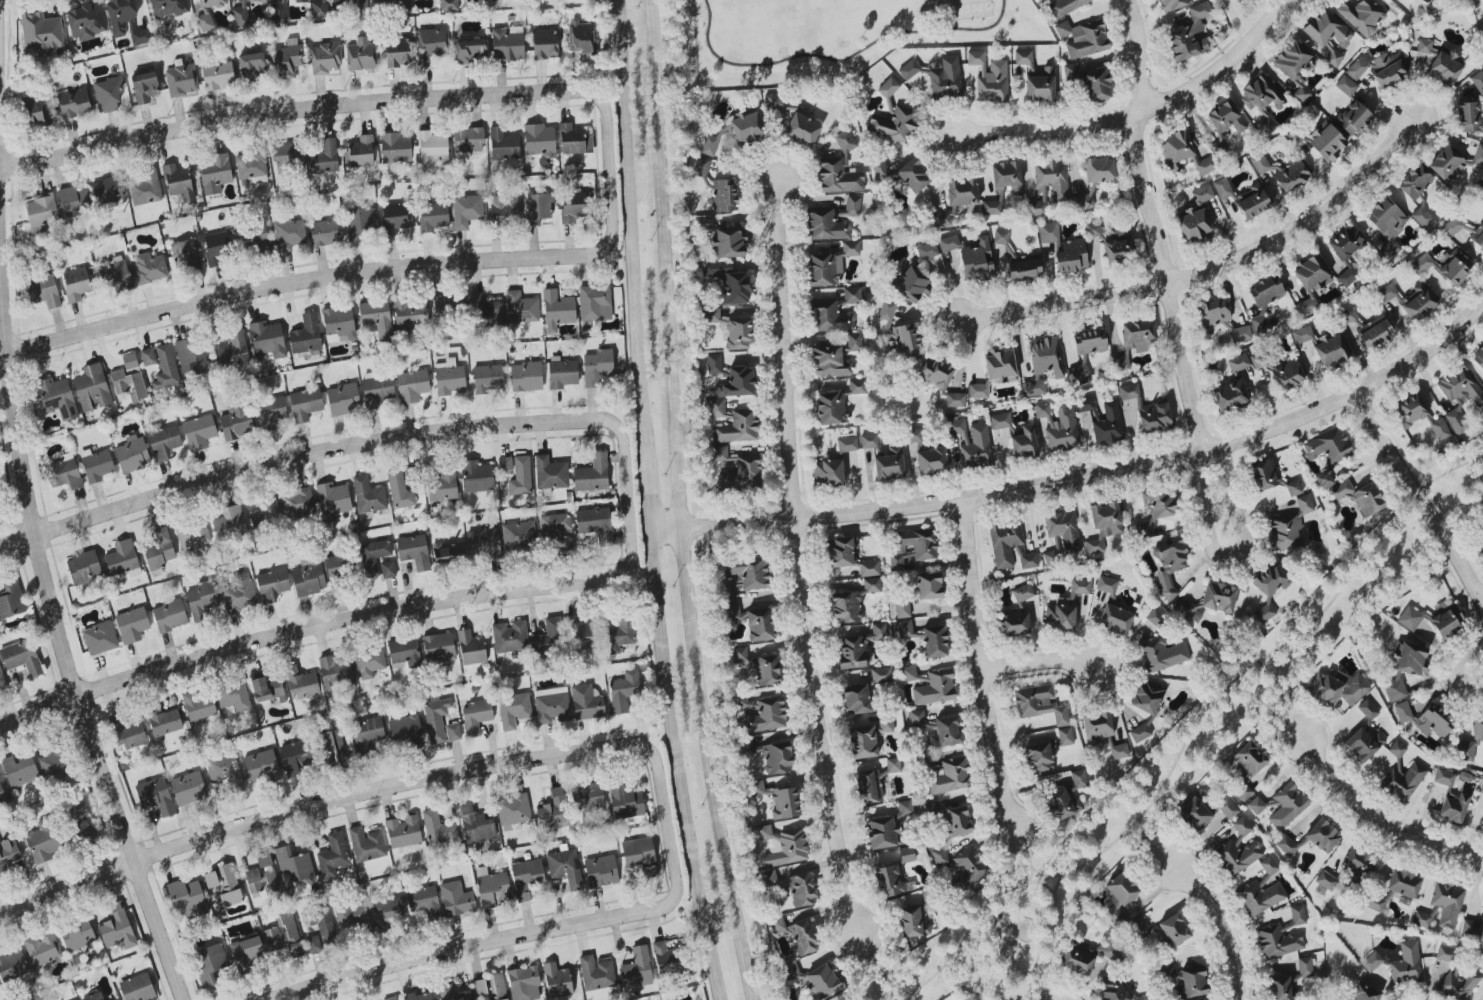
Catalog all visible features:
building: (494, 0)
building: (1238, 0)
building: (300, 1)
building: (384, 2)
building: (212, 3)
building: (1174, 4)
building: (449, 5)
building: (404, 6)
building: (359, 7)
building: (169, 8)
building: (319, 9)
building: (241, 13)
building: (279, 13)
building: (1361, 14)
building: (120, 15)
building: (86, 21)
building: (205, 22)
building: (1328, 29)
building: (40, 34)
building: (1189, 34)
building: (140, 37)
building: (580, 37)
building: (1083, 38)
building: (507, 43)
building: (545, 43)
building: (432, 44)
building: (1424, 46)
building: (471, 50)
building: (397, 52)
building: (361, 55)
building: (1333, 56)
building: (1022, 57)
building: (325, 58)
building: (288, 59)
road: (840, 61)
building: (1292, 61)
building: (252, 64)
building: (1379, 68)
building: (1445, 68)
building: (1072, 71)
building: (218, 76)
building: (938, 77)
building: (990, 78)
building: (1477, 82)
building: (1096, 85)
building: (1346, 85)
building: (1041, 86)
building: (144, 87)
building: (888, 87)
building: (108, 94)
building: (1302, 94)
building: (1262, 101)
building: (775, 103)
building: (74, 104)
road: (335, 105)
road: (1135, 110)
building: (35, 111)
building: (1469, 117)
building: (1226, 118)
building: (1354, 118)
building: (894, 125)
building: (742, 127)
building: (802, 130)
building: (468, 140)
building: (539, 140)
building: (574, 140)
building: (1326, 141)
building: (503, 144)
building: (709, 145)
building: (395, 148)
building: (432, 149)
building: (360, 152)
building: (1182, 153)
building: (286, 154)
building: (1478, 154)
building: (324, 157)
building: (1260, 163)
building: (1447, 164)
building: (251, 166)
building: (701, 167)
building: (840, 169)
building: (1099, 170)
building: (215, 173)
building: (913, 175)
building: (1291, 175)
building: (1006, 177)
building: (178, 182)
building: (1415, 182)
building: (1049, 185)
building: (145, 187)
building: (1222, 188)
building: (1481, 188)
building: (108, 190)
building: (962, 192)
building: (1202, 194)
building: (724, 195)
building: (74, 201)
building: (1252, 204)
building: (573, 206)
building: (539, 208)
building: (850, 208)
building: (990, 208)
building: (504, 209)
building: (466, 211)
building: (41, 212)
building: (1422, 216)
building: (433, 217)
building: (394, 218)
building: (940, 219)
building: (703, 222)
building: (359, 223)
road: (1151, 224)
building: (1194, 224)
building: (1387, 224)
building: (825, 225)
building: (1452, 226)
road: (632, 227)
building: (326, 232)
building: (1048, 232)
building: (289, 233)
building: (1478, 236)
building: (1001, 237)
building: (729, 243)
building: (1112, 244)
building: (217, 248)
building: (927, 250)
building: (1347, 252)
building: (185, 255)
building: (1071, 256)
building: (972, 257)
building: (1422, 263)
building: (830, 265)
building: (1454, 267)
building: (150, 268)
building: (1025, 268)
road: (1208, 270)
building: (116, 274)
road: (338, 279)
building: (1310, 281)
building: (728, 282)
building: (76, 284)
building: (910, 285)
building: (42, 291)
building: (1266, 291)
building: (1386, 293)
building: (855, 294)
building: (1418, 302)
building: (595, 303)
building: (448, 305)
building: (521, 308)
building: (487, 309)
building: (557, 310)
building: (886, 312)
building: (410, 313)
building: (830, 317)
building: (377, 318)
building: (1221, 319)
building: (338, 324)
building: (732, 328)
building: (1367, 328)
building: (306, 335)
building: (1302, 335)
building: (1137, 336)
building: (267, 339)
building: (906, 340)
building: (854, 341)
building: (1089, 342)
building: (233, 349)
building: (1331, 351)
building: (148, 357)
building: (1478, 357)
building: (193, 358)
building: (829, 360)
building: (1120, 363)
building: (1238, 363)
building: (713, 364)
building: (1043, 364)
building: (597, 367)
building: (1000, 367)
building: (165, 368)
building: (562, 372)
building: (935, 373)
building: (1080, 374)
building: (1286, 374)
building: (448, 377)
building: (526, 377)
building: (487, 378)
building: (129, 380)
building: (737, 383)
building: (412, 386)
building: (857, 386)
building: (92, 388)
building: (377, 391)
building: (978, 391)
building: (1230, 396)
building: (1459, 396)
building: (57, 397)
building: (343, 400)
building: (955, 400)
building: (305, 404)
building: (715, 408)
building: (831, 409)
building: (1042, 410)
building: (1149, 412)
building: (270, 413)
building: (1417, 415)
building: (236, 419)
building: (1104, 420)
building: (1000, 421)
building: (956, 425)
building: (737, 428)
road: (451, 431)
building: (1063, 431)
building: (199, 432)
building: (914, 435)
building: (164, 443)
building: (1024, 443)
building: (847, 444)
building: (1328, 446)
building: (977, 447)
building: (718, 453)
building: (132, 454)
building: (885, 459)
building: (931, 461)
building: (505, 464)
building: (96, 465)
building: (64, 473)
building: (550, 473)
building: (742, 473)
building: (828, 473)
building: (592, 474)
road: (1086, 474)
building: (476, 476)
building: (520, 476)
building: (1270, 477)
building: (1325, 480)
building: (442, 487)
building: (399, 489)
road: (649, 491)
building: (368, 495)
building: (1359, 496)
road: (1422, 499)
building: (332, 500)
road: (676, 502)
building: (297, 503)
building: (1160, 503)
building: (1481, 510)
building: (264, 517)
building: (229, 523)
building: (595, 524)
building: (553, 525)
building: (1103, 525)
building: (1288, 528)
building: (1143, 529)
building: (1063, 531)
building: (193, 535)
building: (519, 535)
building: (484, 543)
building: (565, 544)
building: (913, 546)
building: (1009, 546)
building: (159, 549)
building: (1481, 549)
road: (1228, 550)
building: (414, 552)
building: (841, 552)
road: (800, 553)
building: (449, 554)
building: (373, 556)
building: (122, 558)
building: (1169, 564)
building: (84, 568)
building: (868, 568)
building: (338, 570)
building: (388, 570)
building: (744, 575)
building: (308, 579)
building: (1270, 580)
building: (1105, 584)
building: (272, 585)
building: (929, 586)
building: (1080, 587)
building: (1022, 593)
building: (239, 594)
building: (1218, 597)
building: (11, 599)
building: (202, 601)
building: (852, 602)
road: (1481, 602)
building: (902, 608)
building: (1186, 609)
building: (1264, 613)
building: (1059, 614)
building: (169, 616)
building: (1156, 618)
building: (1115, 619)
building: (1433, 619)
building: (753, 621)
building: (1014, 623)
building: (131, 625)
building: (907, 629)
building: (566, 634)
building: (510, 637)
building: (620, 637)
building: (100, 638)
building: (935, 641)
road: (62, 644)
road: (238, 646)
building: (859, 647)
building: (438, 648)
building: (471, 648)
building: (404, 653)
building: (1161, 654)
building: (21, 657)
building: (1408, 657)
building: (368, 662)
road: (1044, 662)
road: (988, 664)
building: (758, 666)
road: (1450, 669)
building: (908, 673)
building: (336, 675)
building: (881, 675)
building: (2, 677)
building: (301, 683)
building: (935, 688)
building: (1338, 688)
building: (267, 689)
building: (1394, 689)
building: (624, 691)
building: (233, 695)
building: (1147, 697)
building: (856, 699)
building: (586, 702)
building: (1039, 704)
building: (198, 705)
building: (552, 705)
road: (1267, 706)
building: (514, 710)
building: (1367, 710)
building: (766, 715)
building: (475, 717)
building: (437, 718)
building: (916, 719)
building: (1426, 719)
building: (163, 721)
building: (1096, 727)
building: (1477, 728)
building: (406, 730)
building: (1143, 730)
road: (1190, 730)
building: (948, 731)
building: (453, 732)
building: (367, 733)
building: (130, 734)
building: (1065, 736)
building: (867, 738)
building: (336, 744)
building: (1363, 744)
building: (1397, 749)
park: (1184, 751)
building: (1464, 751)
building: (1119, 752)
building: (770, 755)
building: (297, 758)
building: (1038, 758)
road: (677, 764)
building: (53, 765)
building: (892, 765)
building: (261, 766)
building: (1246, 767)
building: (20, 770)
building: (225, 771)
road: (455, 775)
building: (950, 776)
building: (1079, 779)
building: (1403, 782)
building: (868, 786)
building: (188, 788)
building: (1481, 788)
building: (3, 792)
building: (155, 796)
building: (588, 797)
building: (1451, 798)
building: (779, 800)
building: (625, 801)
building: (1059, 805)
building: (1258, 806)
building: (1287, 806)
building: (1228, 808)
building: (513, 810)
building: (554, 810)
building: (77, 812)
building: (1195, 812)
road: (1379, 819)
building: (954, 822)
building: (475, 825)
building: (1242, 826)
building: (889, 827)
building: (440, 831)
building: (404, 834)
building: (1323, 836)
building: (42, 842)
building: (367, 844)
building: (1286, 845)
building: (783, 846)
road: (1147, 847)
road: (1027, 852)
building: (906, 854)
building: (333, 855)
building: (640, 855)
building: (1237, 856)
building: (10, 858)
building: (1362, 864)
building: (1269, 865)
building: (293, 866)
building: (960, 866)
building: (564, 867)
building: (601, 870)
building: (262, 876)
building: (526, 877)
building: (769, 878)
building: (889, 880)
building: (1325, 880)
building: (224, 885)
road: (1045, 887)
building: (492, 888)
building: (1122, 888)
building: (802, 890)
building: (1259, 897)
building: (186, 899)
building: (456, 900)
building: (424, 903)
building: (1375, 903)
building: (1447, 903)
building: (388, 912)
building: (351, 917)
building: (1421, 919)
building: (914, 921)
building: (321, 923)
road: (1216, 923)
building: (777, 925)
building: (117, 928)
building: (1472, 928)
building: (1137, 929)
building: (1174, 929)
building: (77, 935)
road: (1047, 936)
building: (803, 937)
building: (289, 938)
building: (1277, 941)
building: (43, 949)
building: (247, 953)
building: (1445, 954)
building: (664, 958)
road: (415, 959)
building: (1076, 960)
building: (1371, 962)
building: (209, 963)
road: (874, 964)
building: (1406, 964)
building: (12, 965)
building: (1305, 967)
building: (636, 969)
building: (1166, 969)
building: (791, 970)
building: (596, 973)
building: (557, 980)
building: (823, 982)
building: (524, 983)
building: (1192, 983)
building: (1457, 984)
building: (1279, 987)
building: (137, 988)
building: (490, 988)
building: (1114, 992)
building: (450, 993)
building: (1365, 993)
building: (418, 996)
building: (94, 997)
building: (1139, 998)
building: (392, 999)

